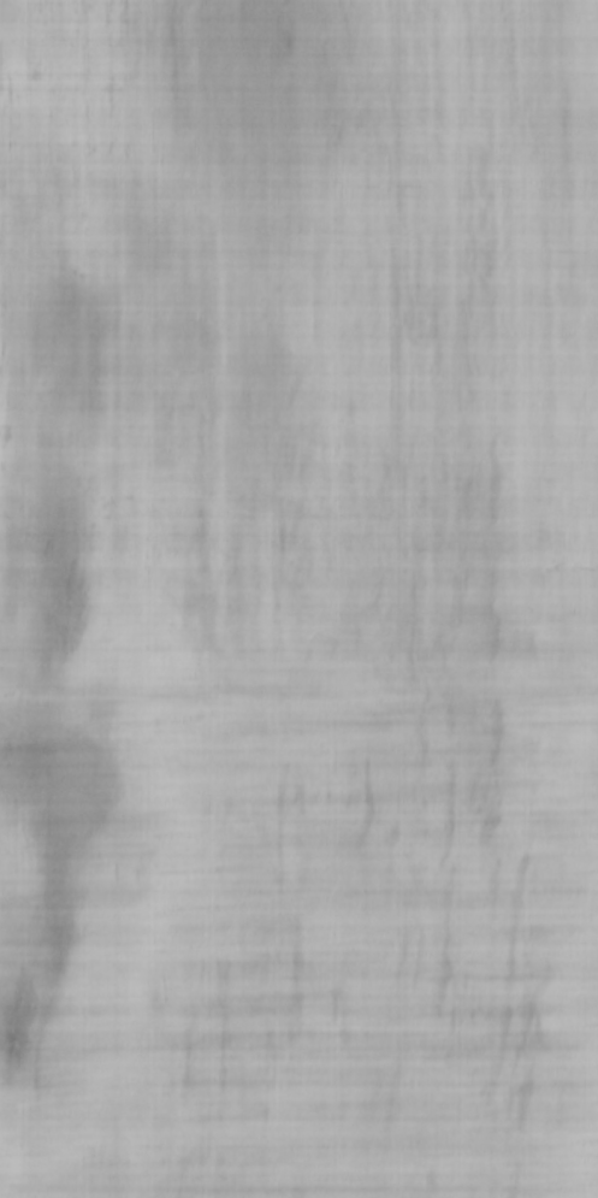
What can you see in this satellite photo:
road: (298, 704)

